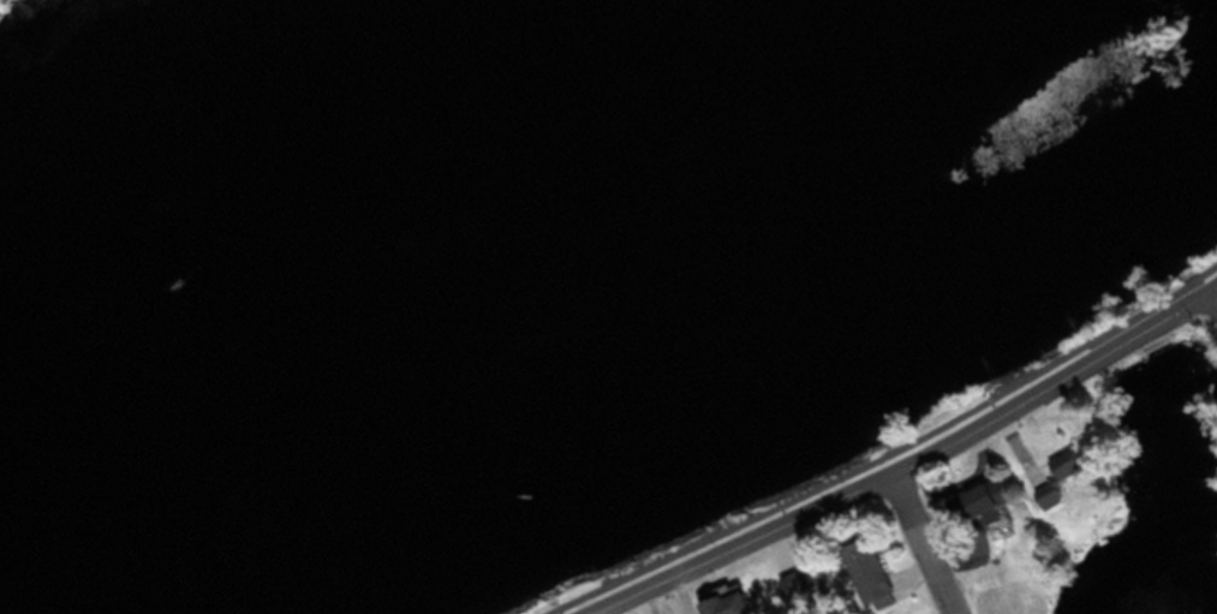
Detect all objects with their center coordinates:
river: (526, 268)
road: (1195, 270)
road: (1211, 293)
road: (901, 464)
building: (1060, 478)
building: (995, 502)
road: (924, 541)
building: (873, 572)
building: (806, 585)
building: (738, 604)

